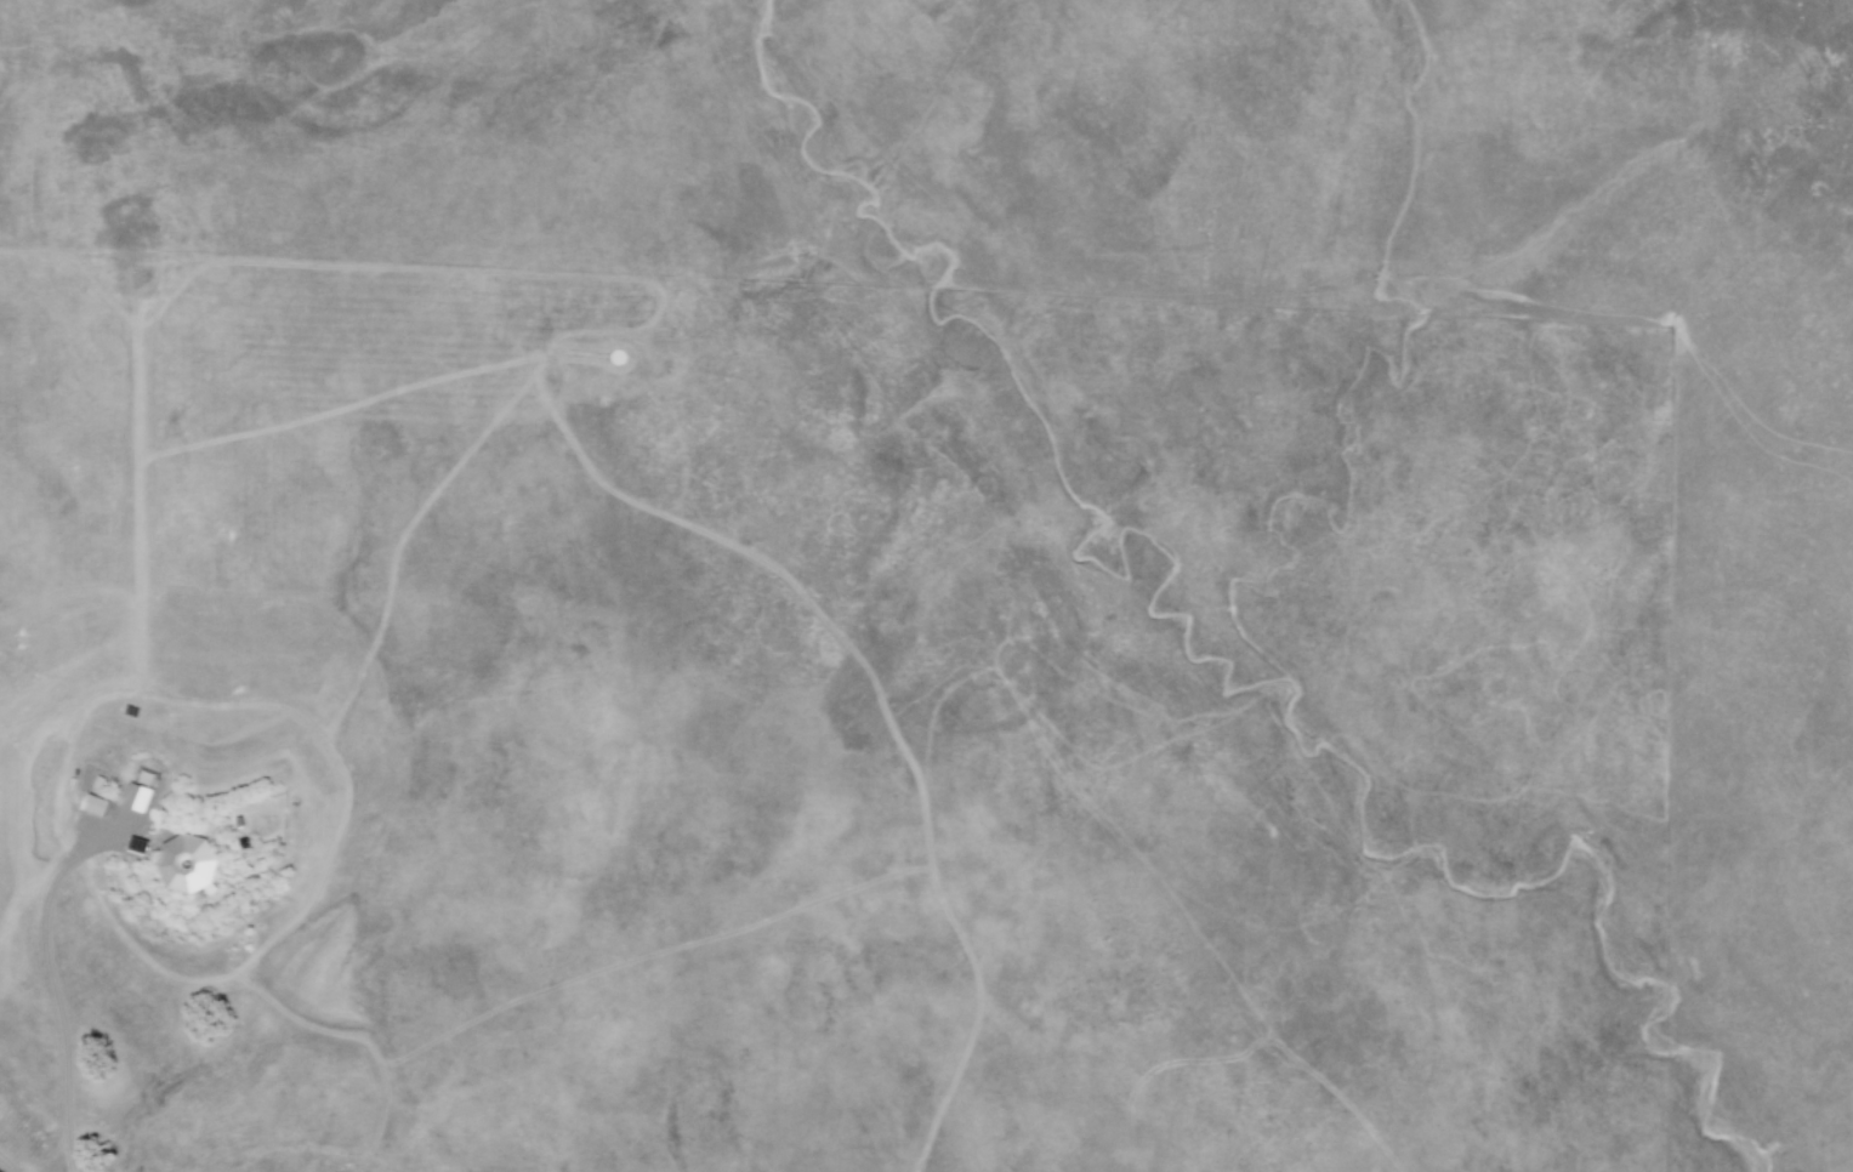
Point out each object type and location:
building: (133, 796)
building: (93, 804)
road: (49, 982)
road: (4, 1167)

